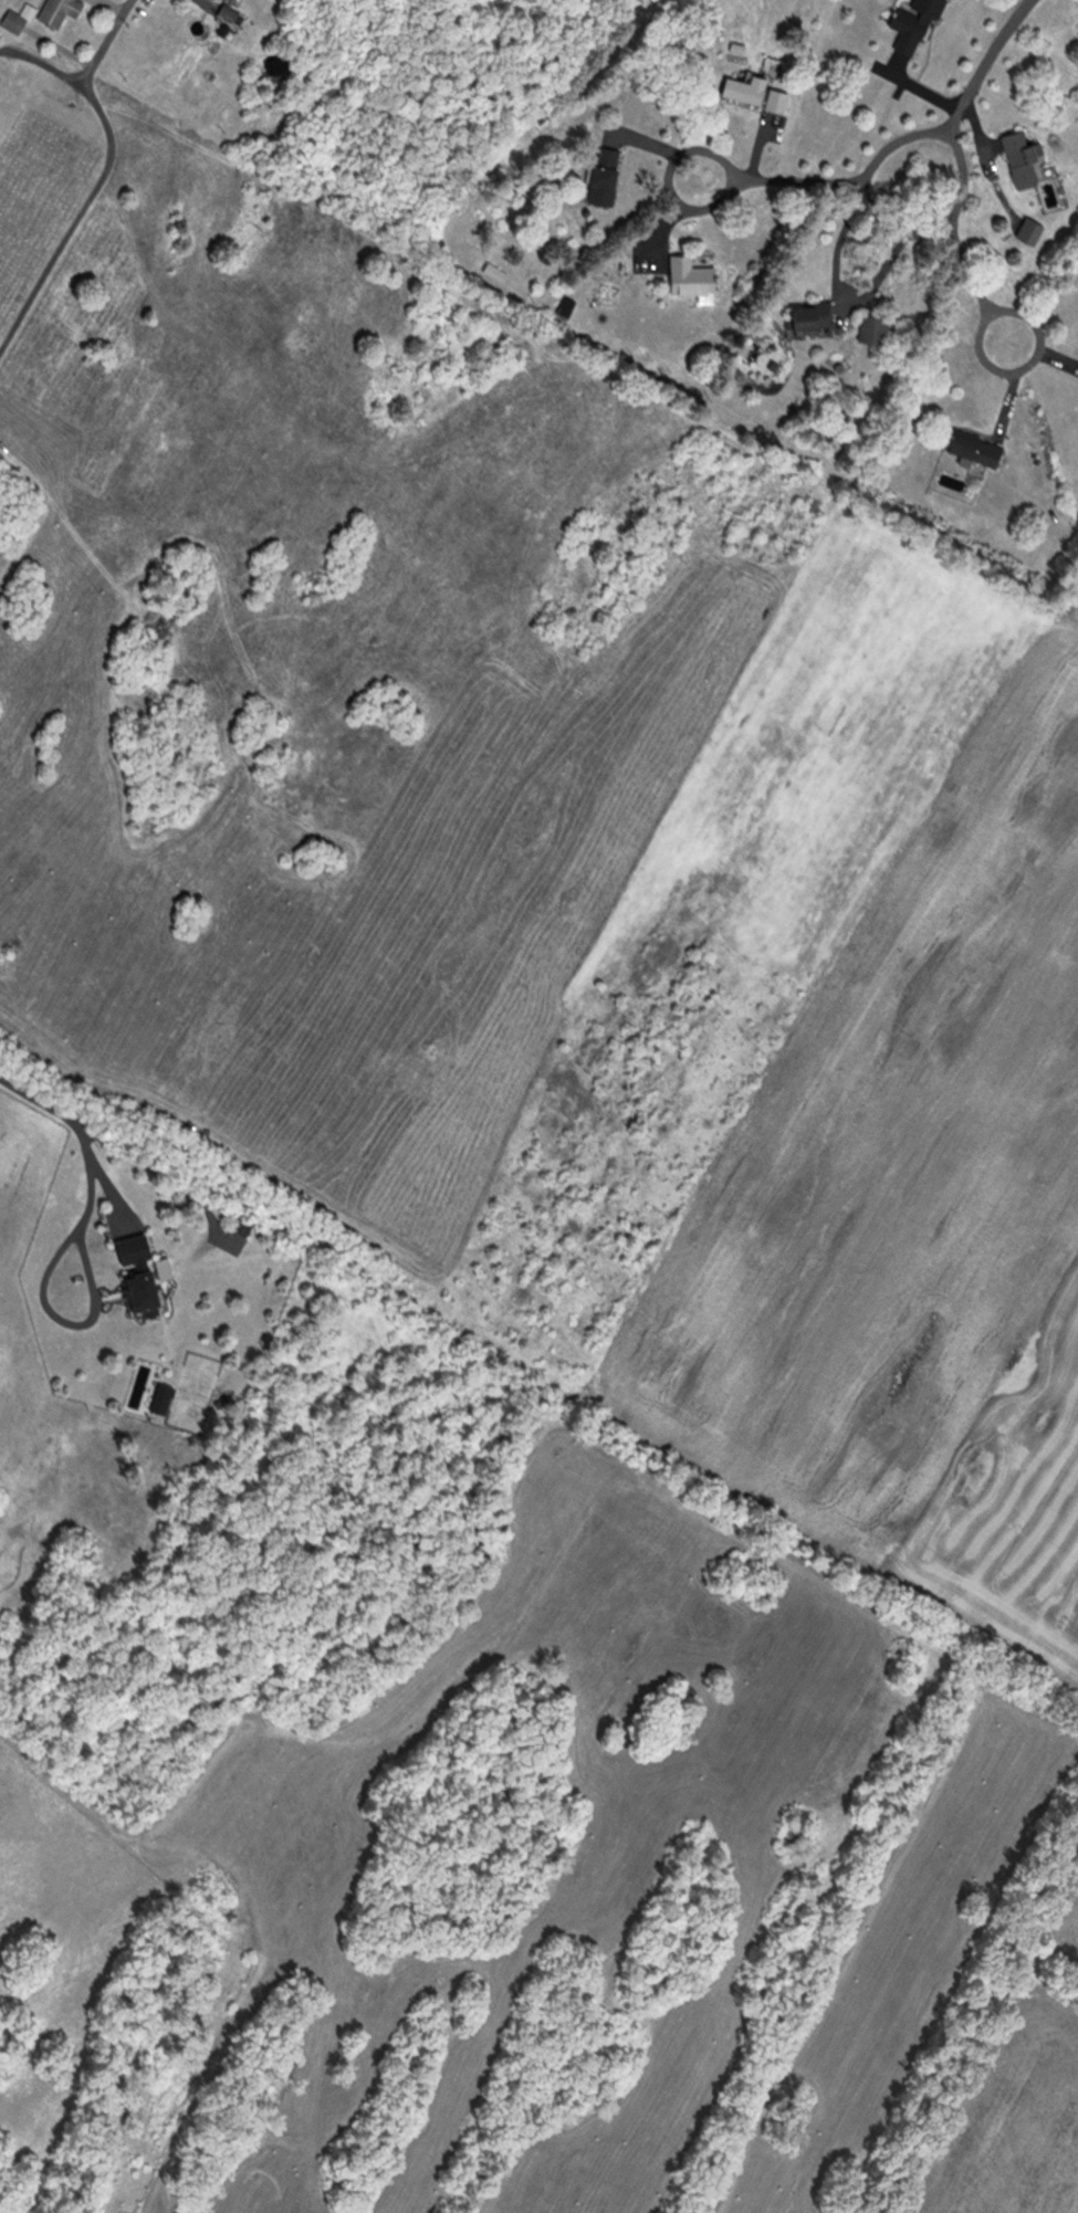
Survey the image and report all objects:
building: (57, 11)
building: (228, 11)
building: (12, 20)
building: (912, 21)
road: (107, 40)
road: (43, 59)
road: (971, 88)
building: (741, 90)
building: (776, 98)
building: (1019, 156)
building: (604, 175)
road: (809, 180)
road: (73, 214)
road: (964, 261)
building: (493, 270)
building: (688, 274)
building: (808, 313)
building: (871, 326)
building: (972, 445)
road: (77, 1126)
building: (242, 1224)
building: (133, 1271)

